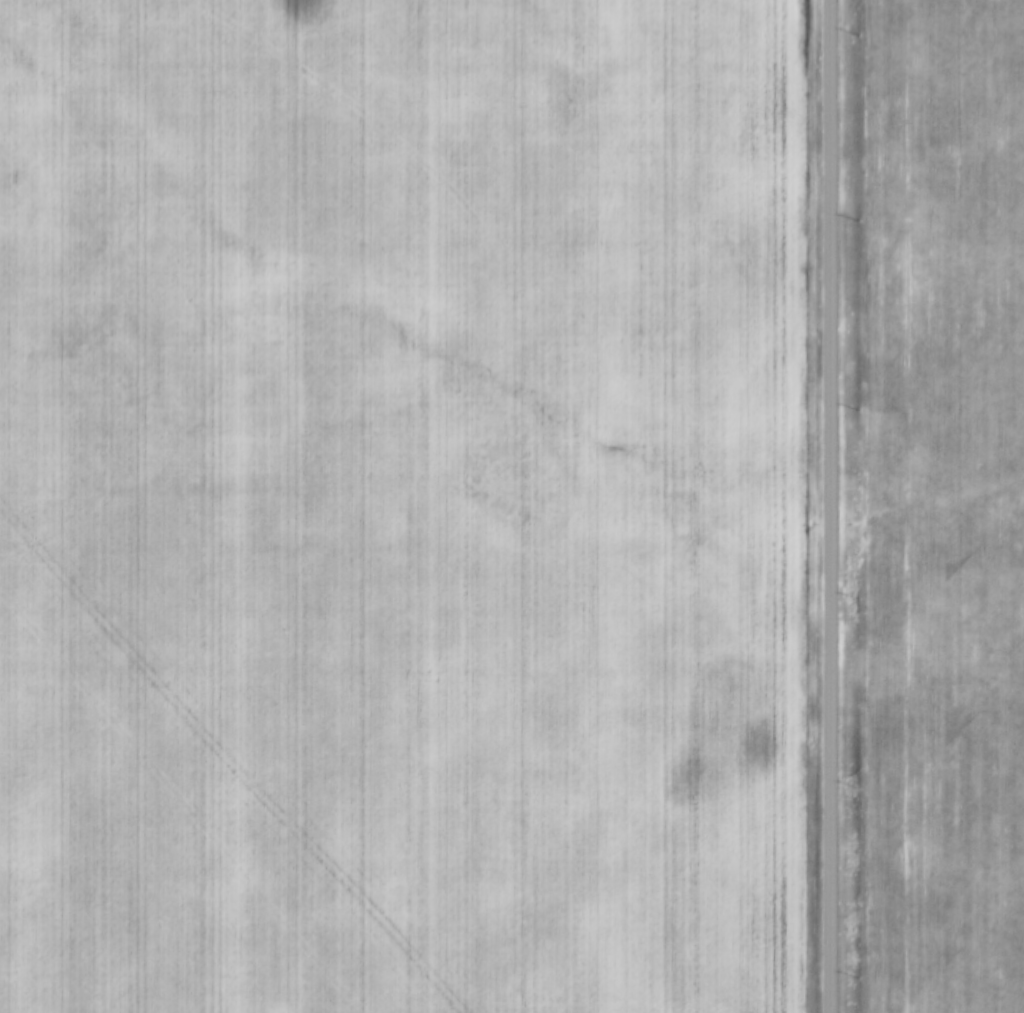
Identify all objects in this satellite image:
road: (830, 506)

